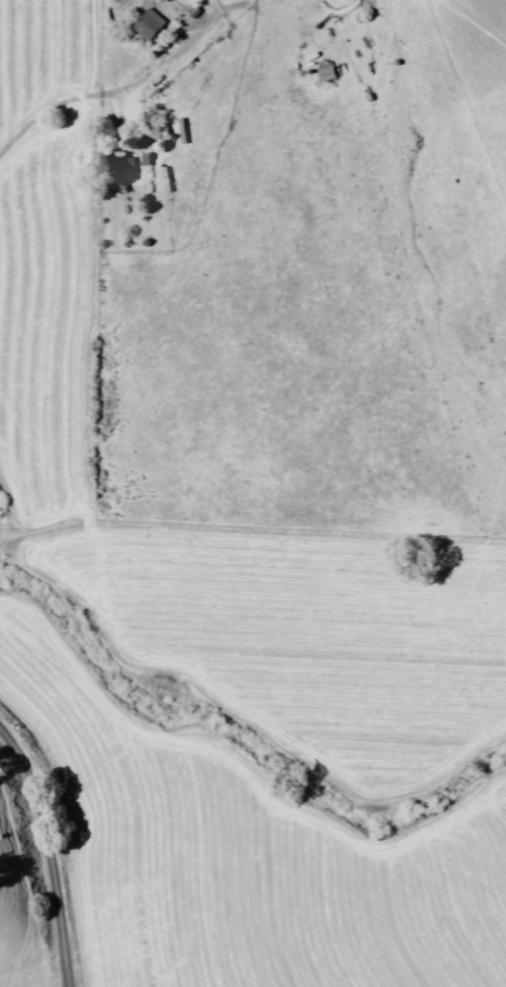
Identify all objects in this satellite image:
building: (139, 21)
building: (149, 25)
building: (318, 71)
road: (116, 89)
building: (137, 156)
building: (146, 159)
building: (118, 167)
crop: (226, 661)
road: (48, 850)

